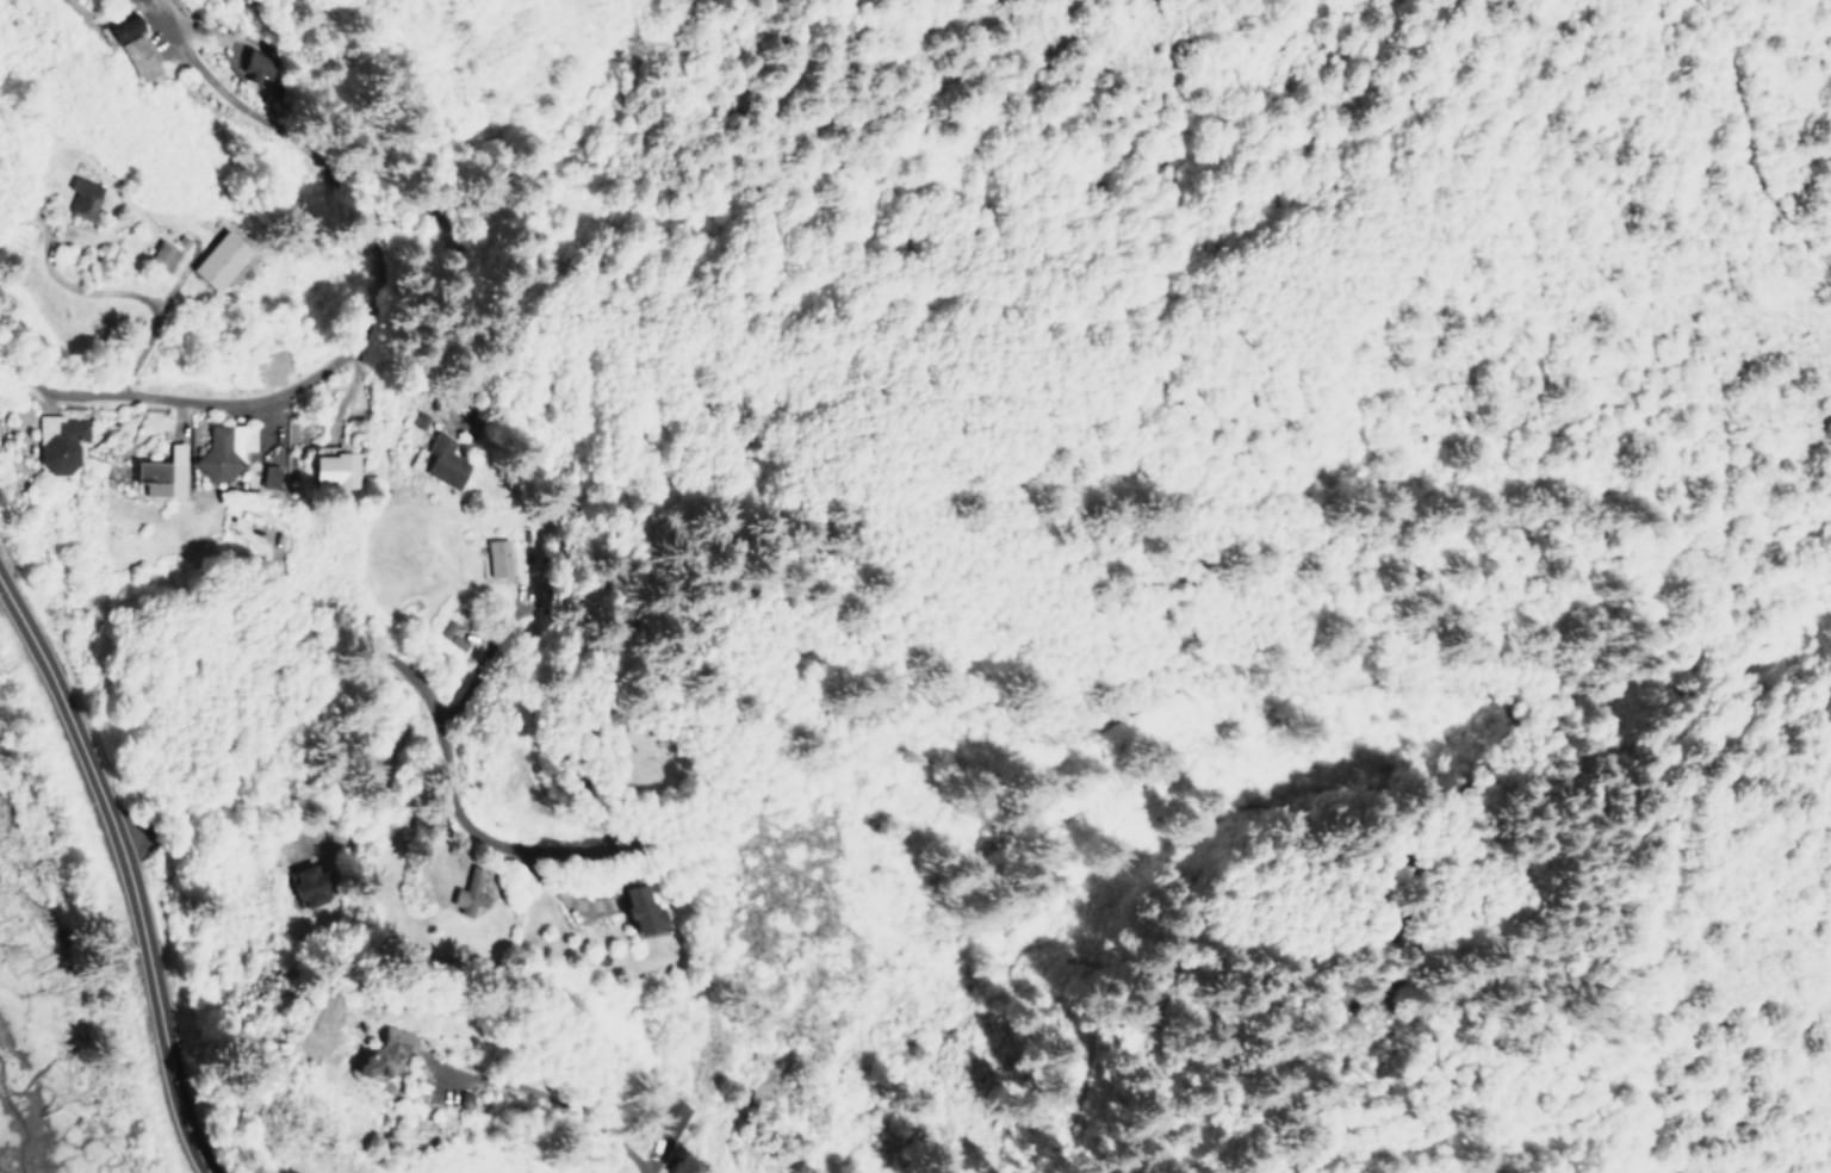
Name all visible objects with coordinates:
building: (136, 56)
building: (81, 195)
building: (161, 254)
building: (219, 259)
road: (355, 342)
building: (60, 443)
building: (223, 448)
building: (440, 463)
building: (333, 467)
building: (161, 472)
building: (268, 472)
building: (496, 557)
road: (367, 640)
road: (1131, 714)
road: (132, 865)
building: (304, 886)
building: (468, 890)
building: (645, 908)
building: (379, 1055)
building: (672, 1115)

